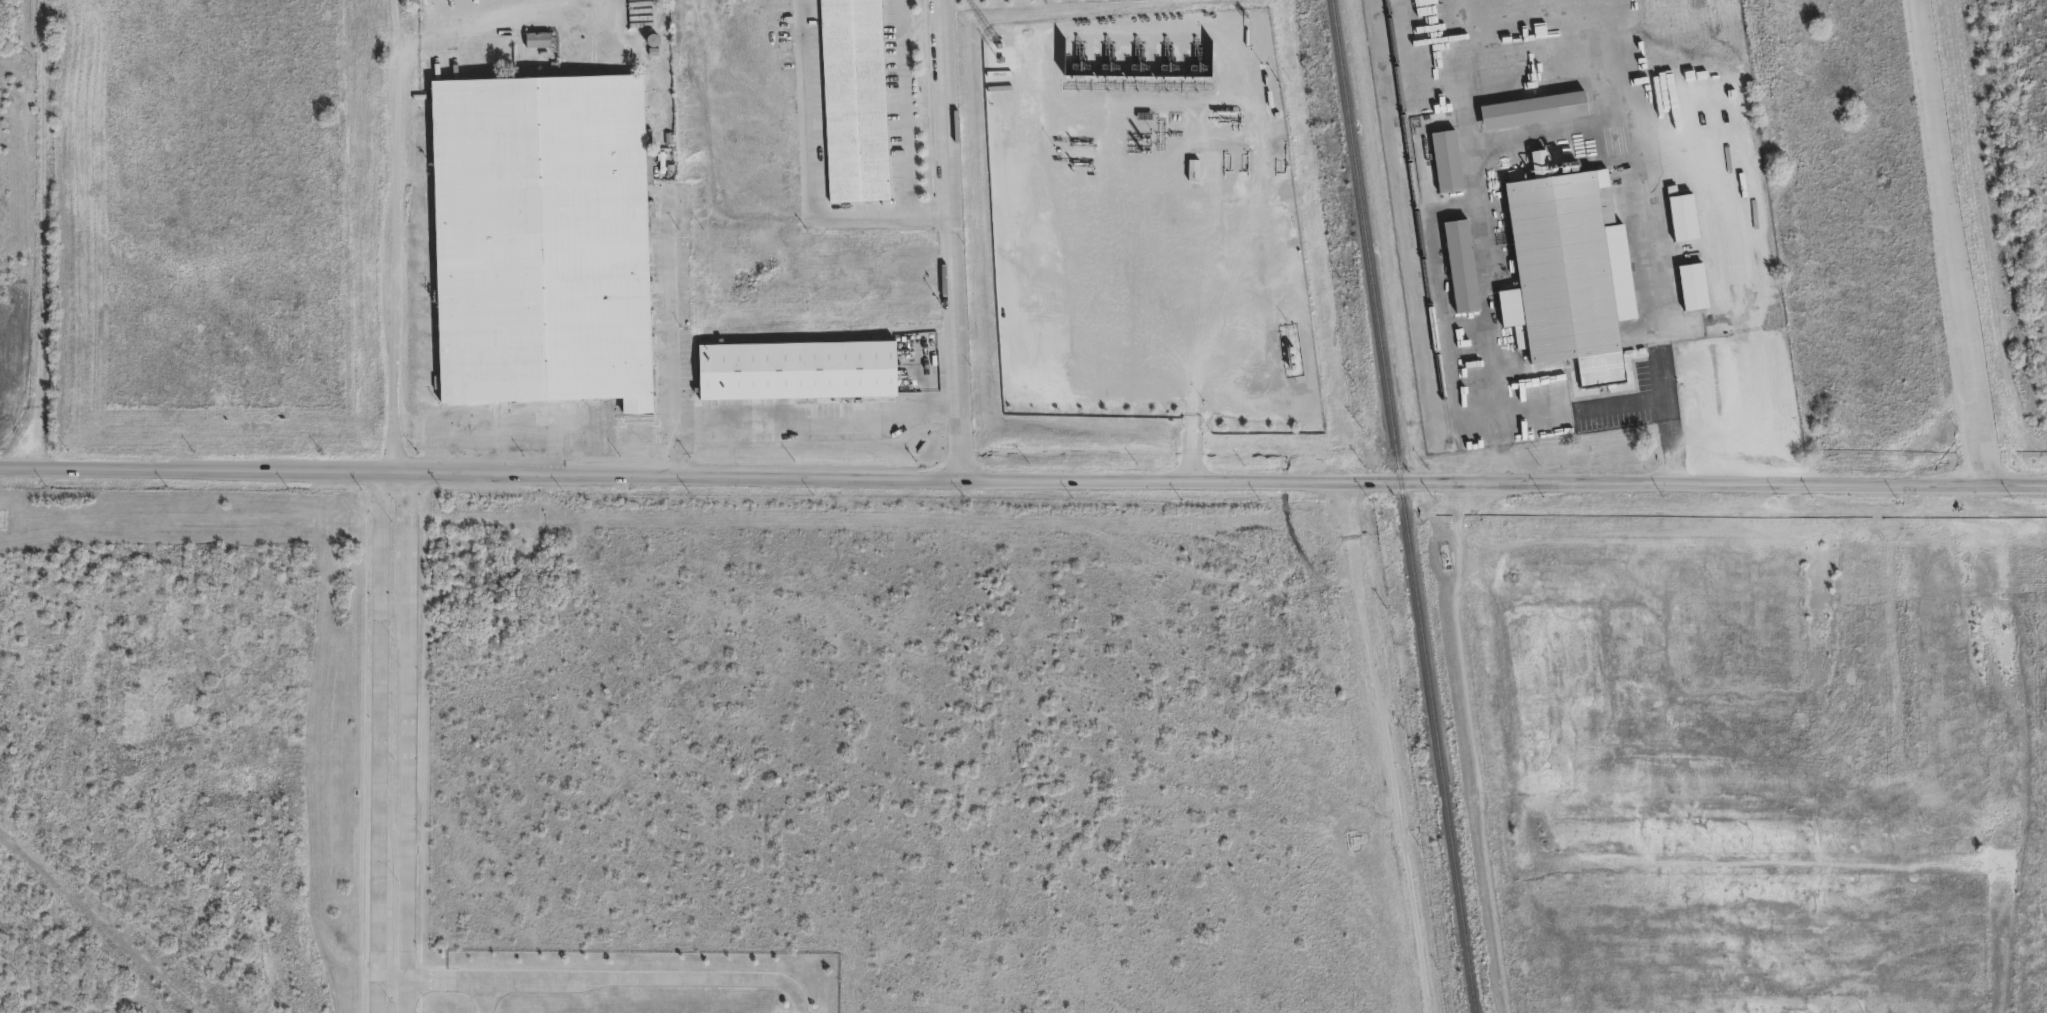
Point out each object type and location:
building: (537, 41)
building: (853, 101)
road: (903, 110)
building: (1530, 110)
road: (1529, 133)
building: (1443, 161)
road: (809, 181)
building: (1680, 218)
railway: (1417, 219)
road: (41, 234)
road: (395, 236)
building: (542, 240)
road: (956, 240)
road: (1956, 243)
building: (1458, 266)
building: (1565, 272)
road: (1736, 277)
building: (1690, 287)
road: (670, 319)
road: (1184, 346)
building: (799, 369)
road: (1665, 399)
road: (819, 422)
road: (542, 439)
road: (673, 453)
road: (1023, 481)
railway: (1402, 506)
building: (488, 604)
road: (377, 743)
road: (407, 743)
road: (1383, 746)
road: (433, 978)
road: (636, 978)

